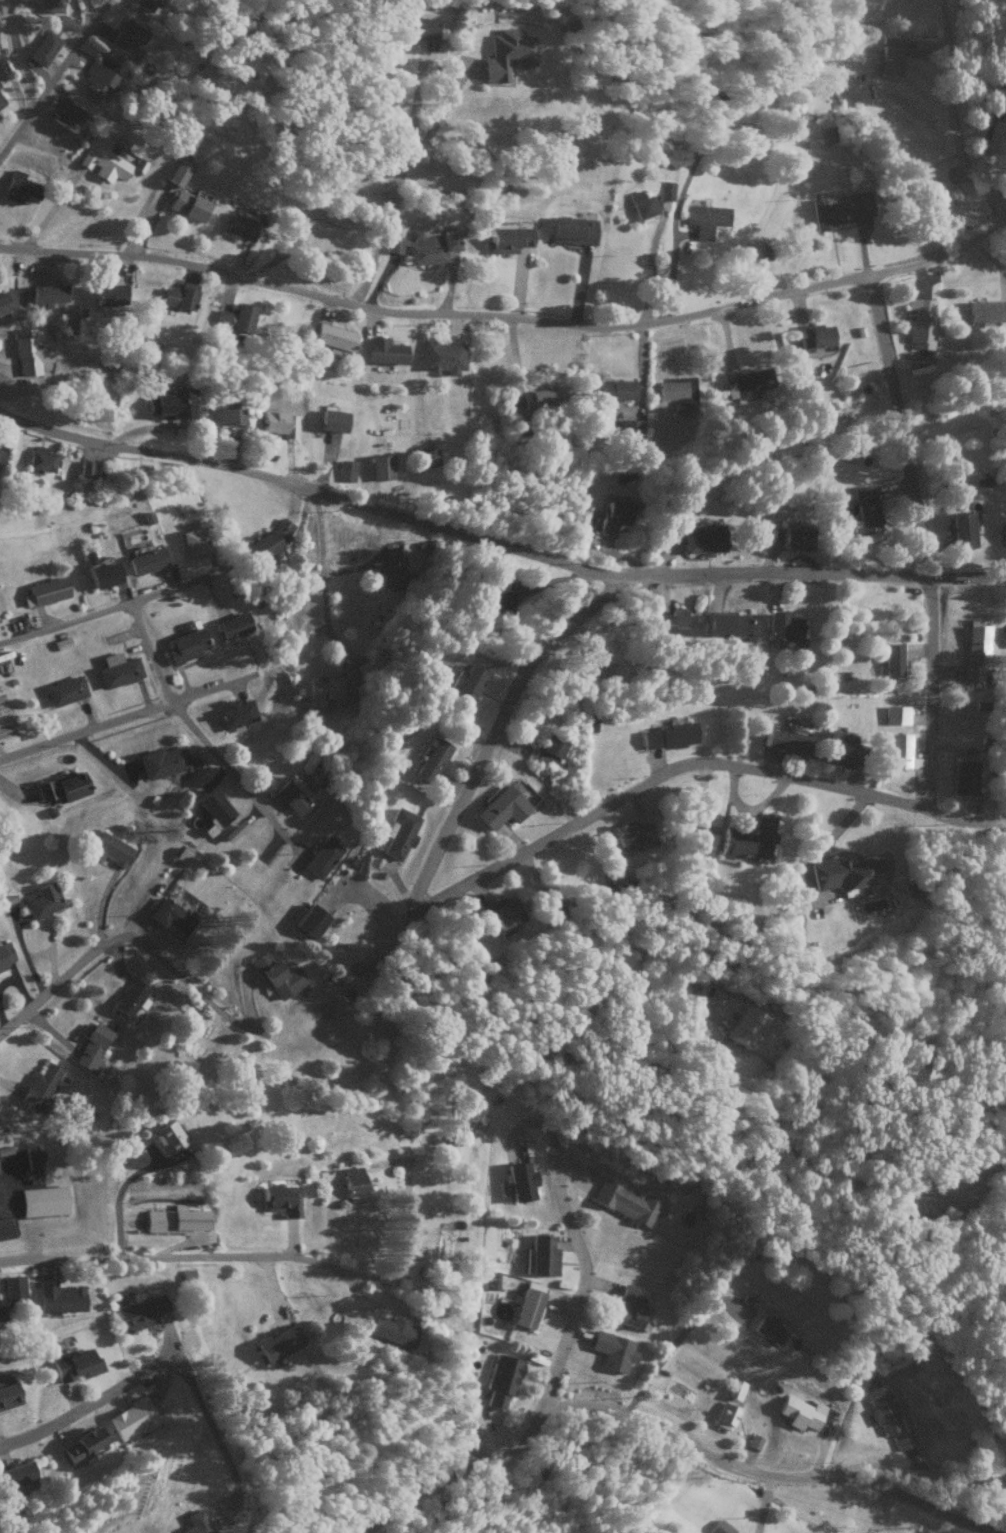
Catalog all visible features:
building: (143, 3)
building: (51, 6)
road: (84, 11)
building: (66, 22)
building: (417, 27)
building: (125, 36)
building: (43, 47)
building: (507, 54)
road: (8, 56)
building: (887, 60)
building: (143, 68)
road: (52, 73)
building: (999, 74)
building: (98, 78)
building: (1, 101)
building: (65, 114)
road: (949, 117)
building: (101, 159)
building: (177, 172)
road: (392, 180)
building: (19, 187)
building: (665, 190)
building: (188, 204)
building: (640, 204)
building: (840, 209)
building: (704, 218)
road: (1001, 220)
building: (239, 224)
building: (571, 230)
building: (325, 237)
building: (506, 239)
building: (422, 246)
building: (45, 294)
building: (109, 294)
building: (179, 295)
building: (3, 303)
building: (985, 310)
building: (234, 317)
building: (920, 322)
road: (503, 323)
building: (810, 333)
building: (333, 339)
building: (29, 351)
building: (383, 351)
building: (442, 356)
building: (746, 382)
building: (616, 389)
building: (677, 390)
building: (551, 396)
building: (169, 404)
building: (220, 414)
building: (331, 420)
building: (518, 420)
building: (278, 422)
building: (631, 428)
building: (2, 453)
building: (426, 457)
building: (41, 459)
building: (380, 466)
building: (89, 469)
building: (345, 470)
building: (864, 509)
building: (612, 512)
building: (961, 530)
building: (1003, 533)
building: (795, 538)
road: (920, 538)
building: (704, 539)
building: (196, 541)
road: (496, 543)
building: (146, 561)
building: (391, 571)
building: (47, 590)
building: (496, 600)
road: (114, 607)
building: (671, 622)
building: (726, 623)
building: (187, 625)
building: (233, 625)
building: (781, 626)
building: (185, 645)
building: (974, 652)
building: (891, 659)
building: (117, 669)
building: (469, 682)
building: (330, 687)
building: (64, 690)
building: (234, 713)
road: (128, 714)
road: (494, 727)
road: (193, 730)
building: (667, 735)
building: (784, 741)
building: (837, 748)
building: (898, 750)
building: (547, 751)
building: (432, 760)
building: (162, 761)
building: (962, 777)
road: (645, 780)
building: (61, 786)
building: (292, 794)
building: (501, 805)
building: (213, 810)
road: (962, 822)
building: (233, 830)
building: (399, 832)
building: (633, 835)
building: (748, 839)
building: (110, 850)
building: (322, 857)
building: (846, 874)
building: (43, 900)
building: (551, 911)
building: (170, 915)
building: (502, 915)
building: (310, 921)
road: (133, 938)
building: (4, 954)
building: (277, 975)
building: (130, 997)
building: (745, 1026)
building: (92, 1048)
building: (39, 1086)
building: (167, 1137)
building: (31, 1164)
building: (520, 1181)
building: (353, 1184)
building: (280, 1199)
building: (42, 1200)
building: (624, 1202)
building: (174, 1219)
building: (541, 1255)
road: (177, 1256)
building: (492, 1280)
road: (579, 1282)
building: (13, 1288)
building: (58, 1297)
building: (525, 1308)
building: (629, 1308)
building: (140, 1312)
building: (1, 1315)
building: (768, 1329)
building: (393, 1330)
building: (278, 1343)
building: (612, 1350)
building: (75, 1365)
building: (501, 1379)
building: (7, 1391)
road: (90, 1403)
road: (583, 1403)
building: (799, 1412)
building: (882, 1414)
building: (163, 1417)
building: (131, 1419)
building: (900, 1440)
building: (82, 1445)
road: (917, 1471)
road: (593, 1473)
building: (17, 1474)
road: (915, 1500)
building: (195, 1523)
building: (719, 1527)

